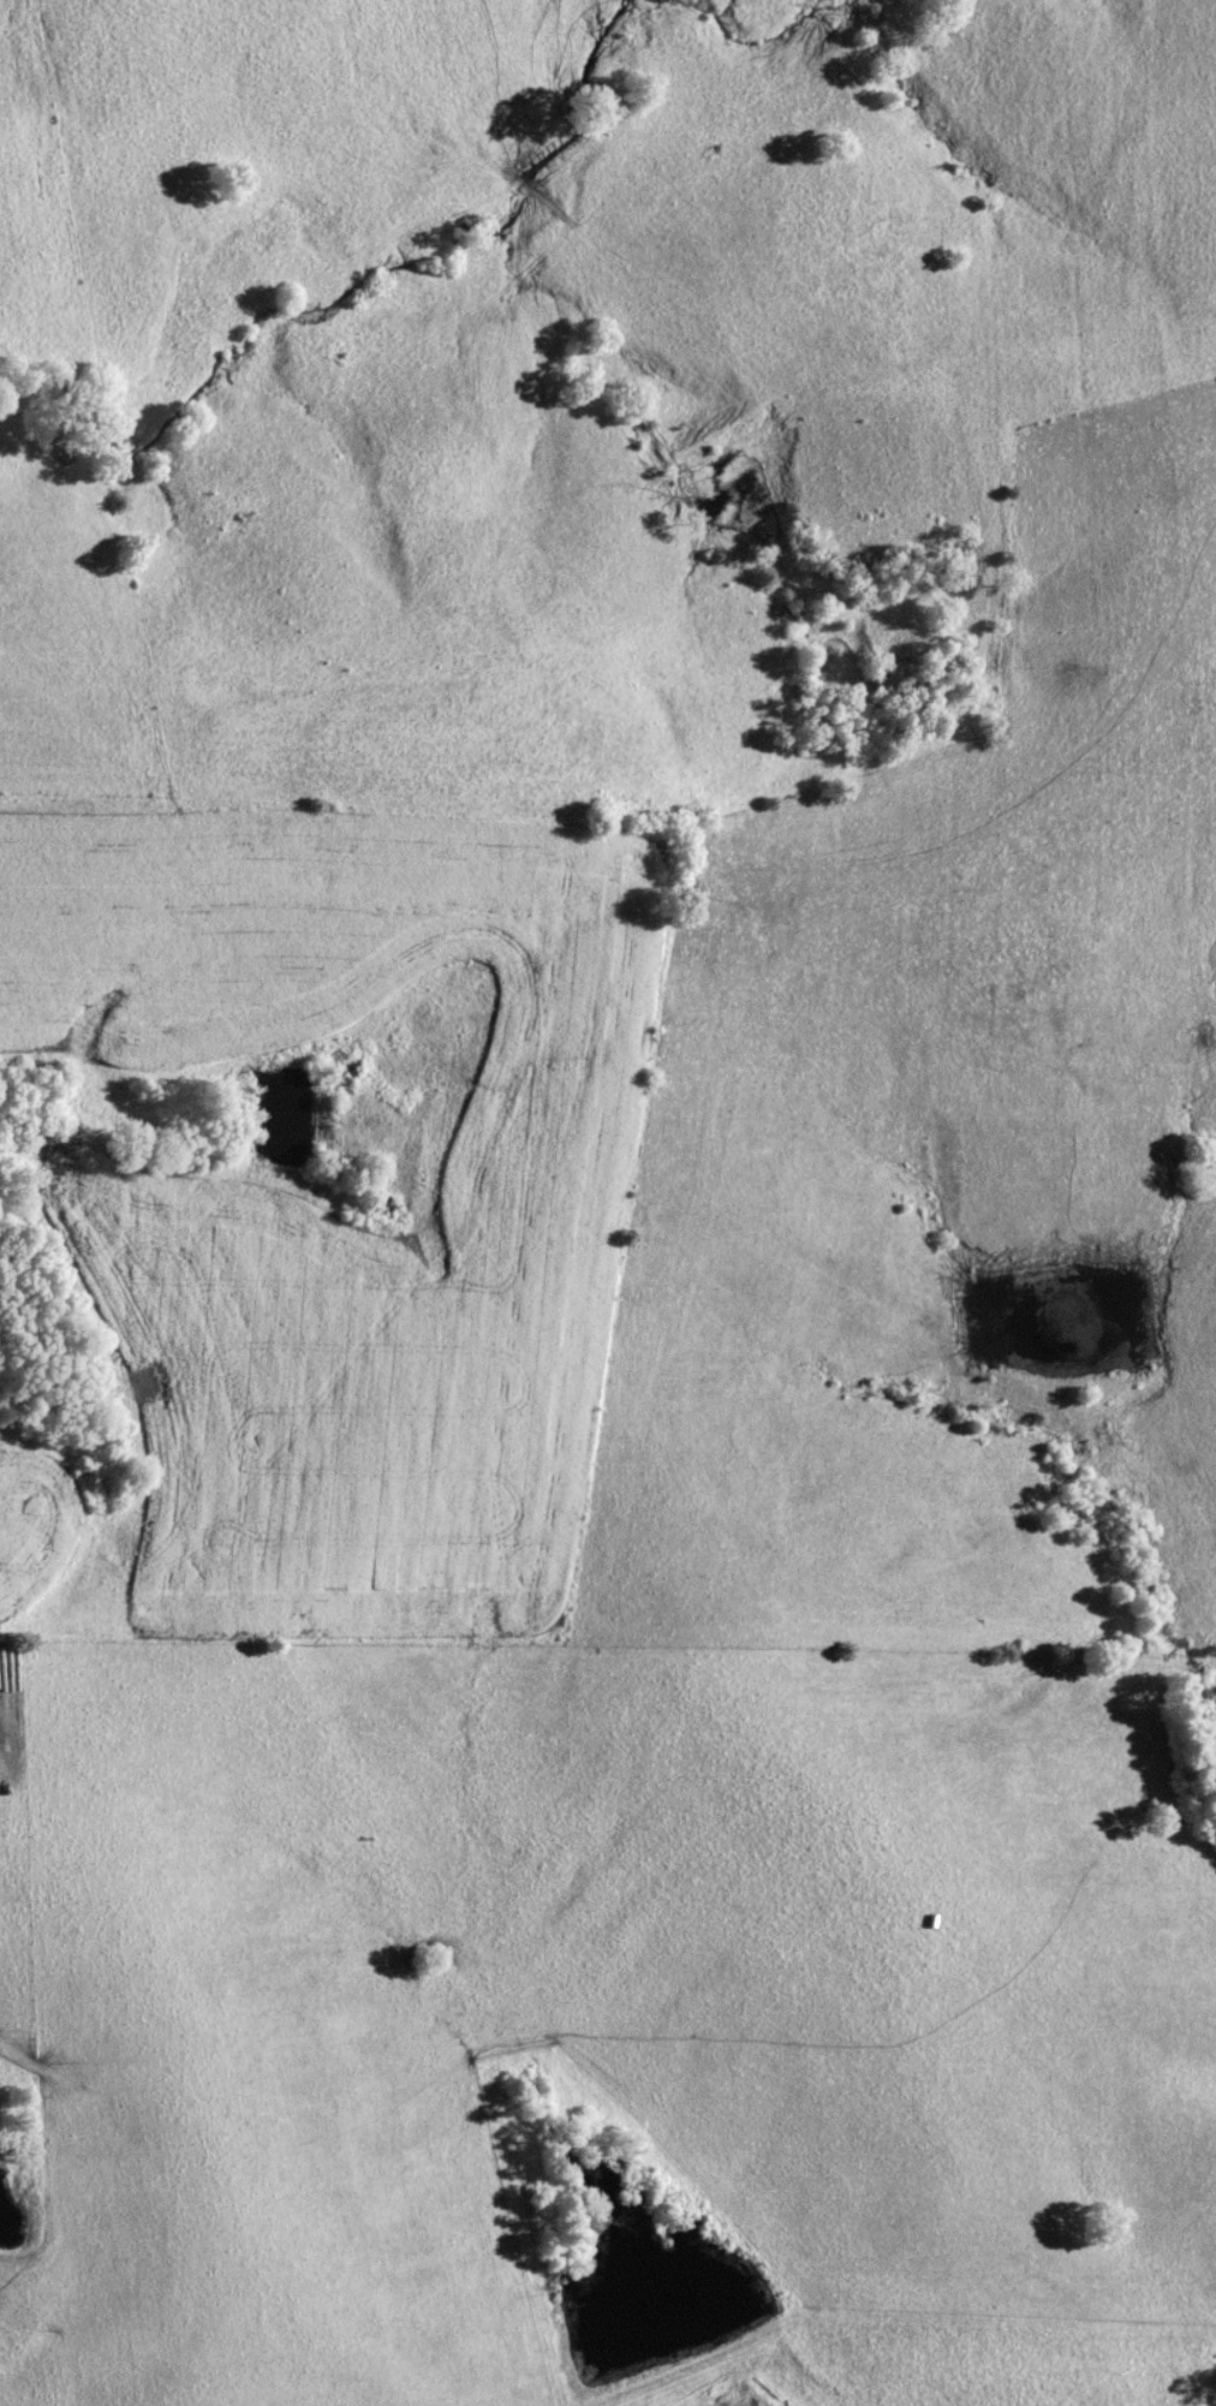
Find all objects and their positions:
road: (1185, 1428)

